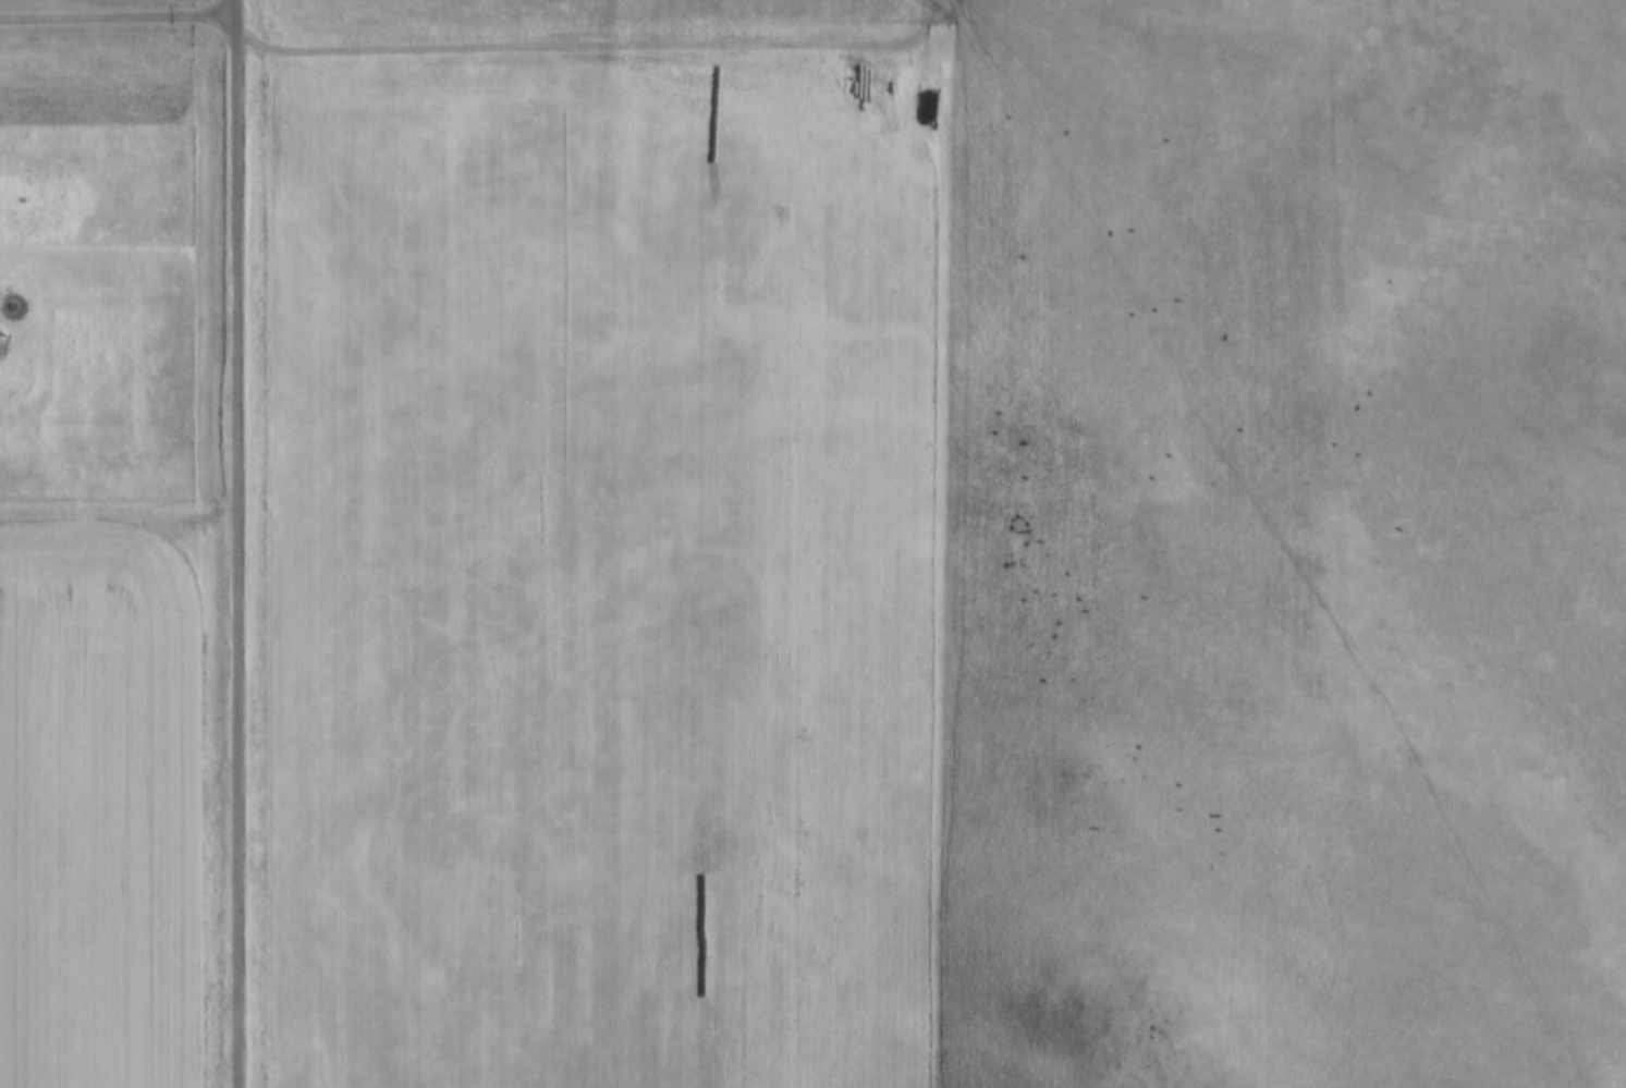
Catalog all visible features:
road: (115, 16)
road: (232, 543)

